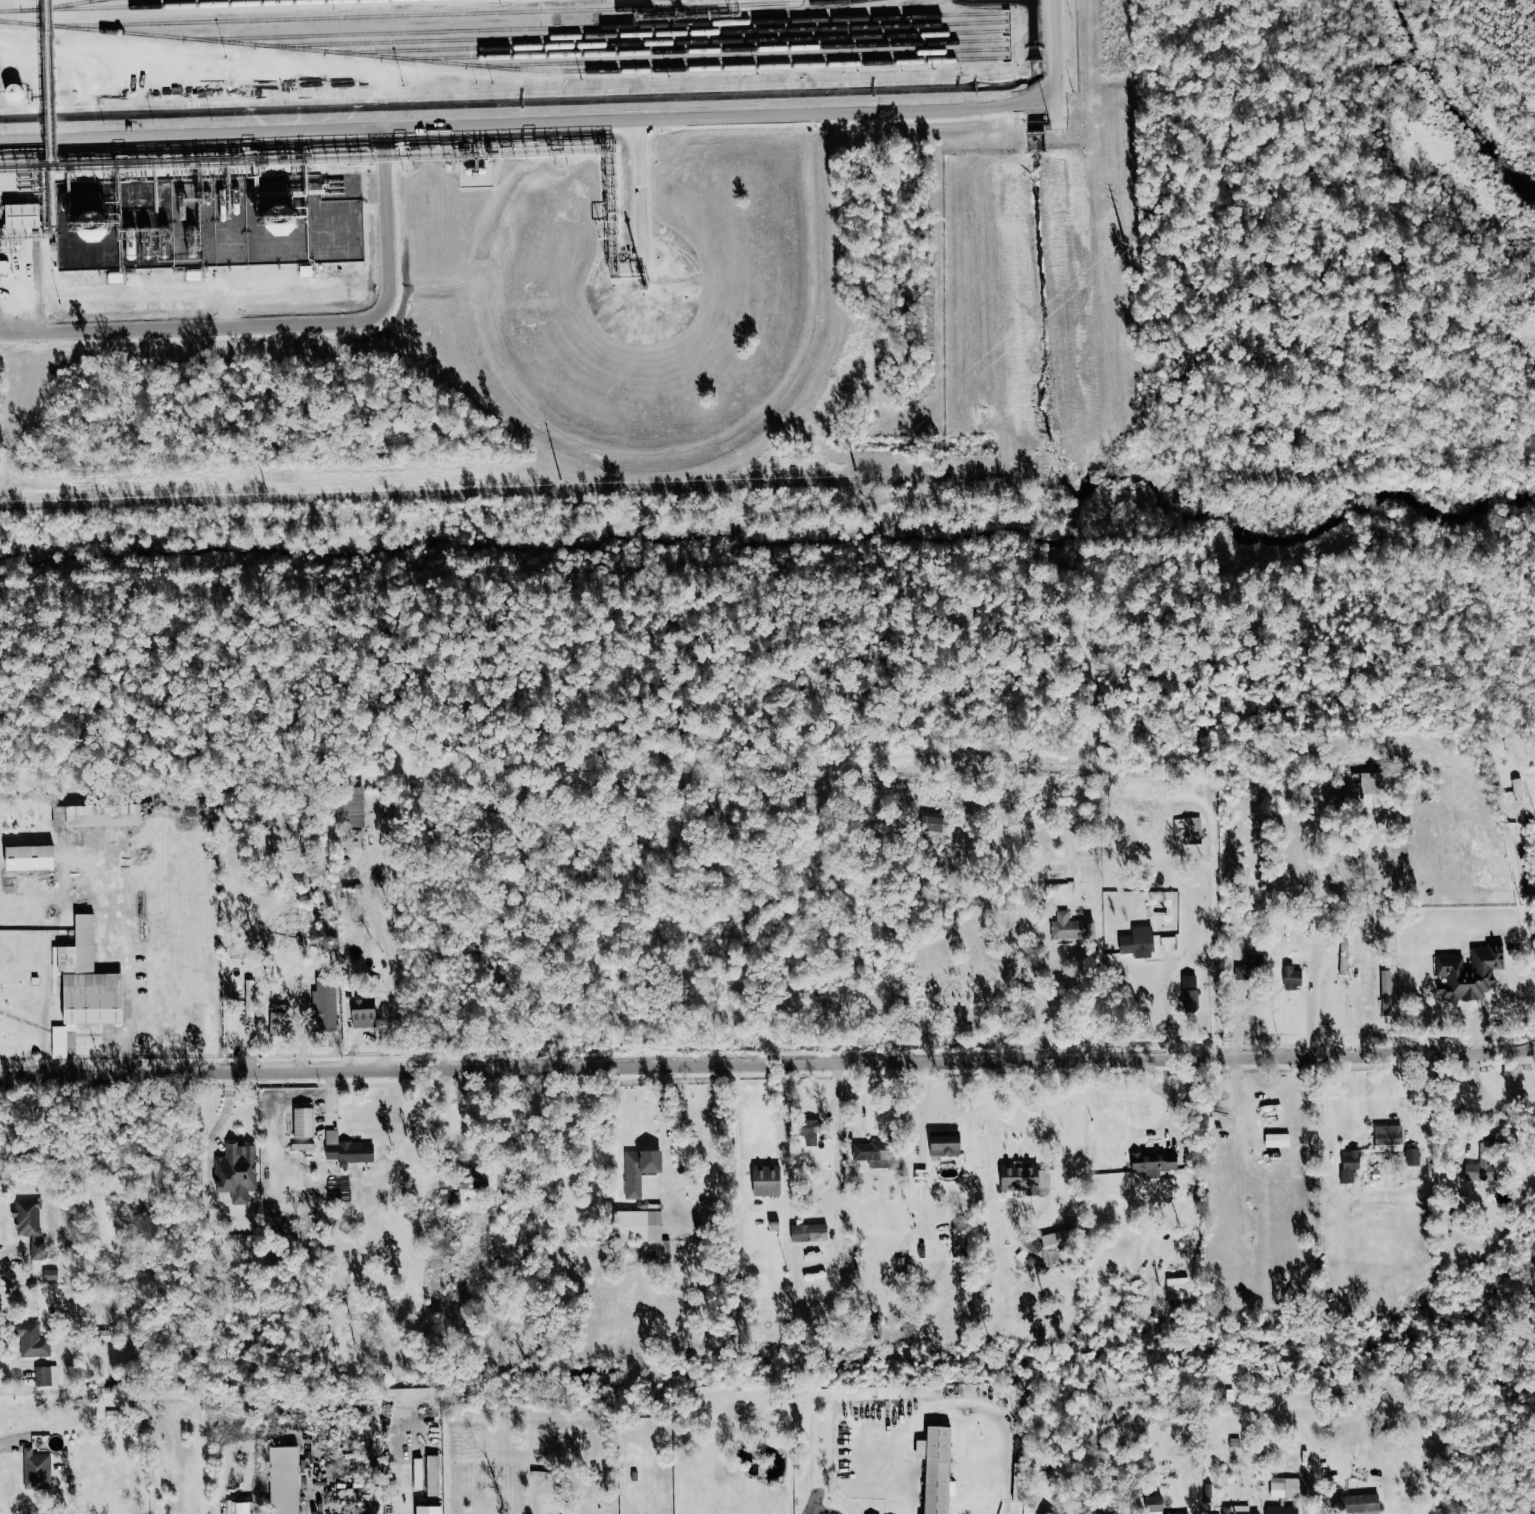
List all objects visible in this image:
railway: (101, 0)
railway: (65, 5)
railway: (165, 5)
railway: (428, 13)
railway: (788, 13)
railway: (597, 25)
railway: (635, 34)
railway: (669, 41)
railway: (710, 50)
road: (1054, 53)
railway: (743, 57)
railway: (519, 69)
road: (48, 70)
building: (15, 93)
road: (527, 114)
road: (648, 199)
building: (23, 216)
building: (4, 267)
road: (290, 326)
road: (466, 776)
building: (1518, 787)
building: (1373, 788)
building: (352, 806)
building: (97, 814)
building: (932, 823)
building: (1188, 830)
building: (31, 857)
road: (1533, 880)
building: (1059, 889)
road: (1213, 920)
building: (1072, 927)
building: (1139, 942)
building: (1168, 943)
building: (1469, 973)
building: (1293, 977)
building: (85, 986)
road: (1052, 987)
building: (1190, 989)
building: (1387, 993)
building: (250, 999)
building: (325, 1004)
road: (1366, 1010)
road: (1170, 1011)
building: (365, 1013)
building: (279, 1020)
road: (768, 1064)
road: (1167, 1094)
road: (1325, 1109)
road: (736, 1111)
building: (304, 1122)
road: (1018, 1128)
building: (809, 1131)
building: (1389, 1137)
building: (1278, 1139)
road: (667, 1142)
building: (946, 1145)
building: (347, 1149)
building: (879, 1153)
building: (1413, 1156)
building: (1156, 1164)
building: (1350, 1164)
building: (237, 1173)
building: (1027, 1177)
building: (480, 1178)
building: (767, 1180)
building: (449, 1199)
building: (643, 1202)
building: (31, 1226)
building: (809, 1231)
building: (958, 1242)
building: (1051, 1249)
building: (1023, 1256)
building: (1178, 1288)
building: (876, 1329)
building: (31, 1340)
building: (46, 1376)
building: (938, 1469)
building: (36, 1470)
building: (416, 1474)
building: (285, 1480)
road: (905, 1483)
building: (1285, 1487)
road: (1387, 1494)
building: (1356, 1503)
building: (1156, 1504)
building: (244, 1508)
building: (1238, 1510)
building: (1283, 1510)
building: (1056, 1513)
building: (1112, 1513)
building: (1178, 1513)

